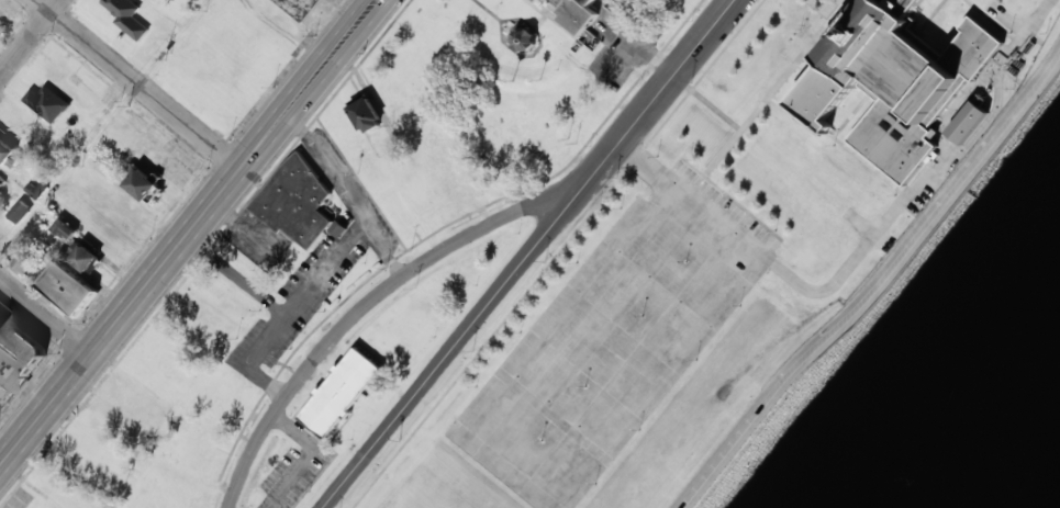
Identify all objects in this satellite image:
building: (535, 0)
building: (300, 8)
building: (573, 13)
building: (127, 16)
road: (30, 37)
building: (524, 39)
building: (590, 39)
building: (893, 82)
road: (140, 83)
road: (657, 95)
building: (46, 102)
building: (366, 115)
building: (967, 122)
road: (105, 129)
building: (9, 154)
building: (1, 182)
building: (141, 182)
building: (294, 201)
building: (20, 212)
building: (67, 229)
building: (338, 229)
road: (188, 233)
building: (26, 257)
building: (87, 258)
road: (875, 284)
building: (69, 287)
road: (367, 307)
road: (46, 315)
road: (451, 350)
building: (16, 355)
building: (341, 393)

